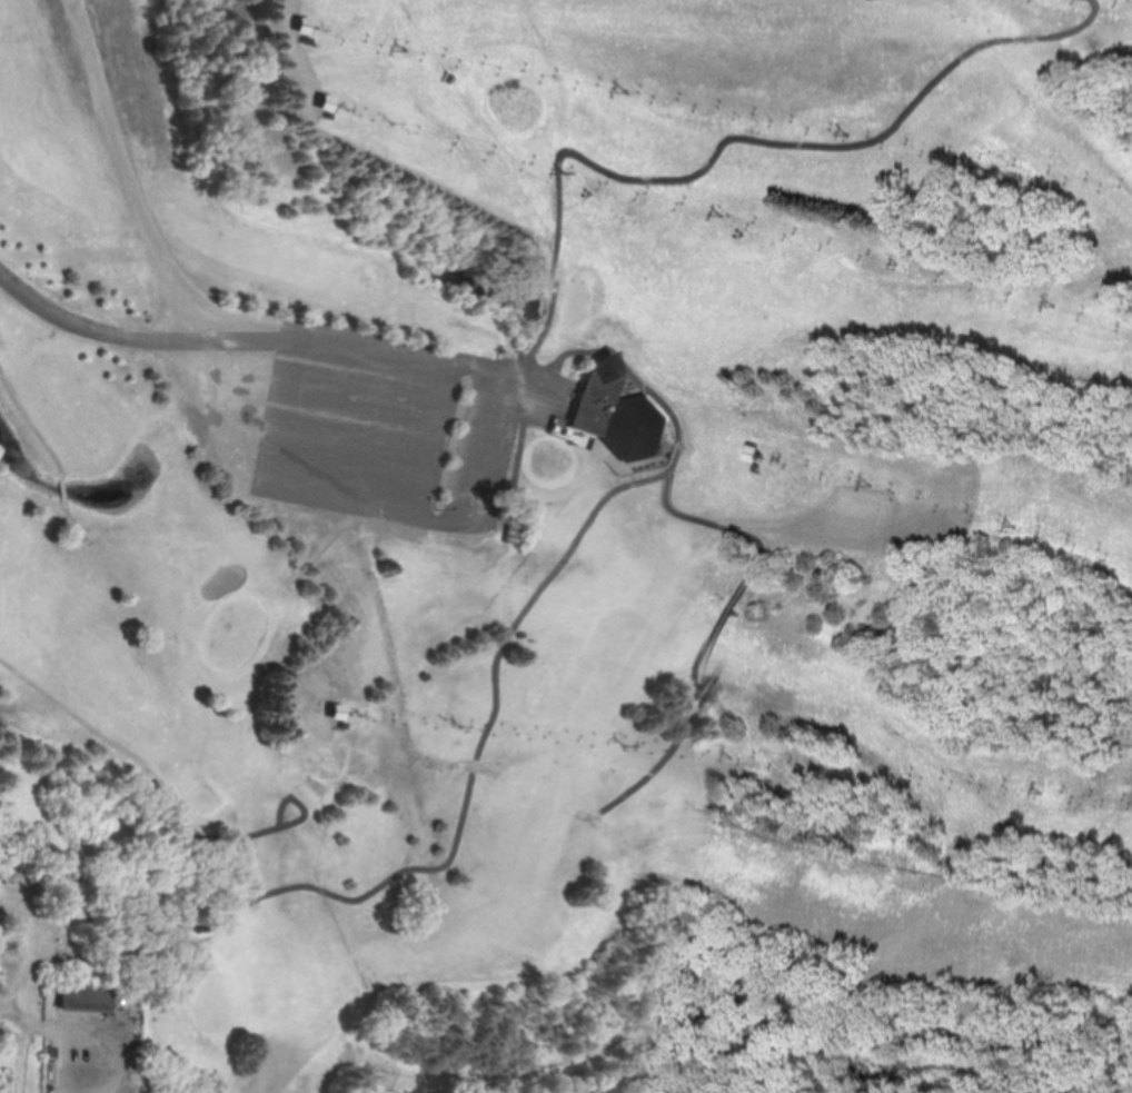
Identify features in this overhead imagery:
building: (285, 23)
aerialway pylon: (417, 49)
aerialway pylon: (628, 90)
aerialway pylon: (388, 119)
aerialway pylon: (848, 131)
aerialway pylon: (969, 155)
aerialway pylon: (573, 170)
aerialway pylon: (729, 213)
aerialway pylon: (900, 260)
aerialway pylon: (1057, 304)
road: (216, 311)
road: (100, 327)
building: (616, 410)
parking lot: (396, 417)
park: (424, 445)
aerialway pylon: (782, 459)
ski resort: (764, 477)
aerialway pylon: (870, 485)
road: (364, 506)
aerialway pylon: (1012, 527)
building: (332, 712)
aerialway pylon: (360, 713)
aerialway pylon: (463, 725)
aerialway pylon: (629, 744)
aerialway pylon: (734, 756)
aerialway pylon: (821, 766)
aerialway pylon: (1040, 792)
park: (80, 957)
building: (75, 996)
road: (28, 1023)
road: (24, 1057)
park: (881, 1072)

